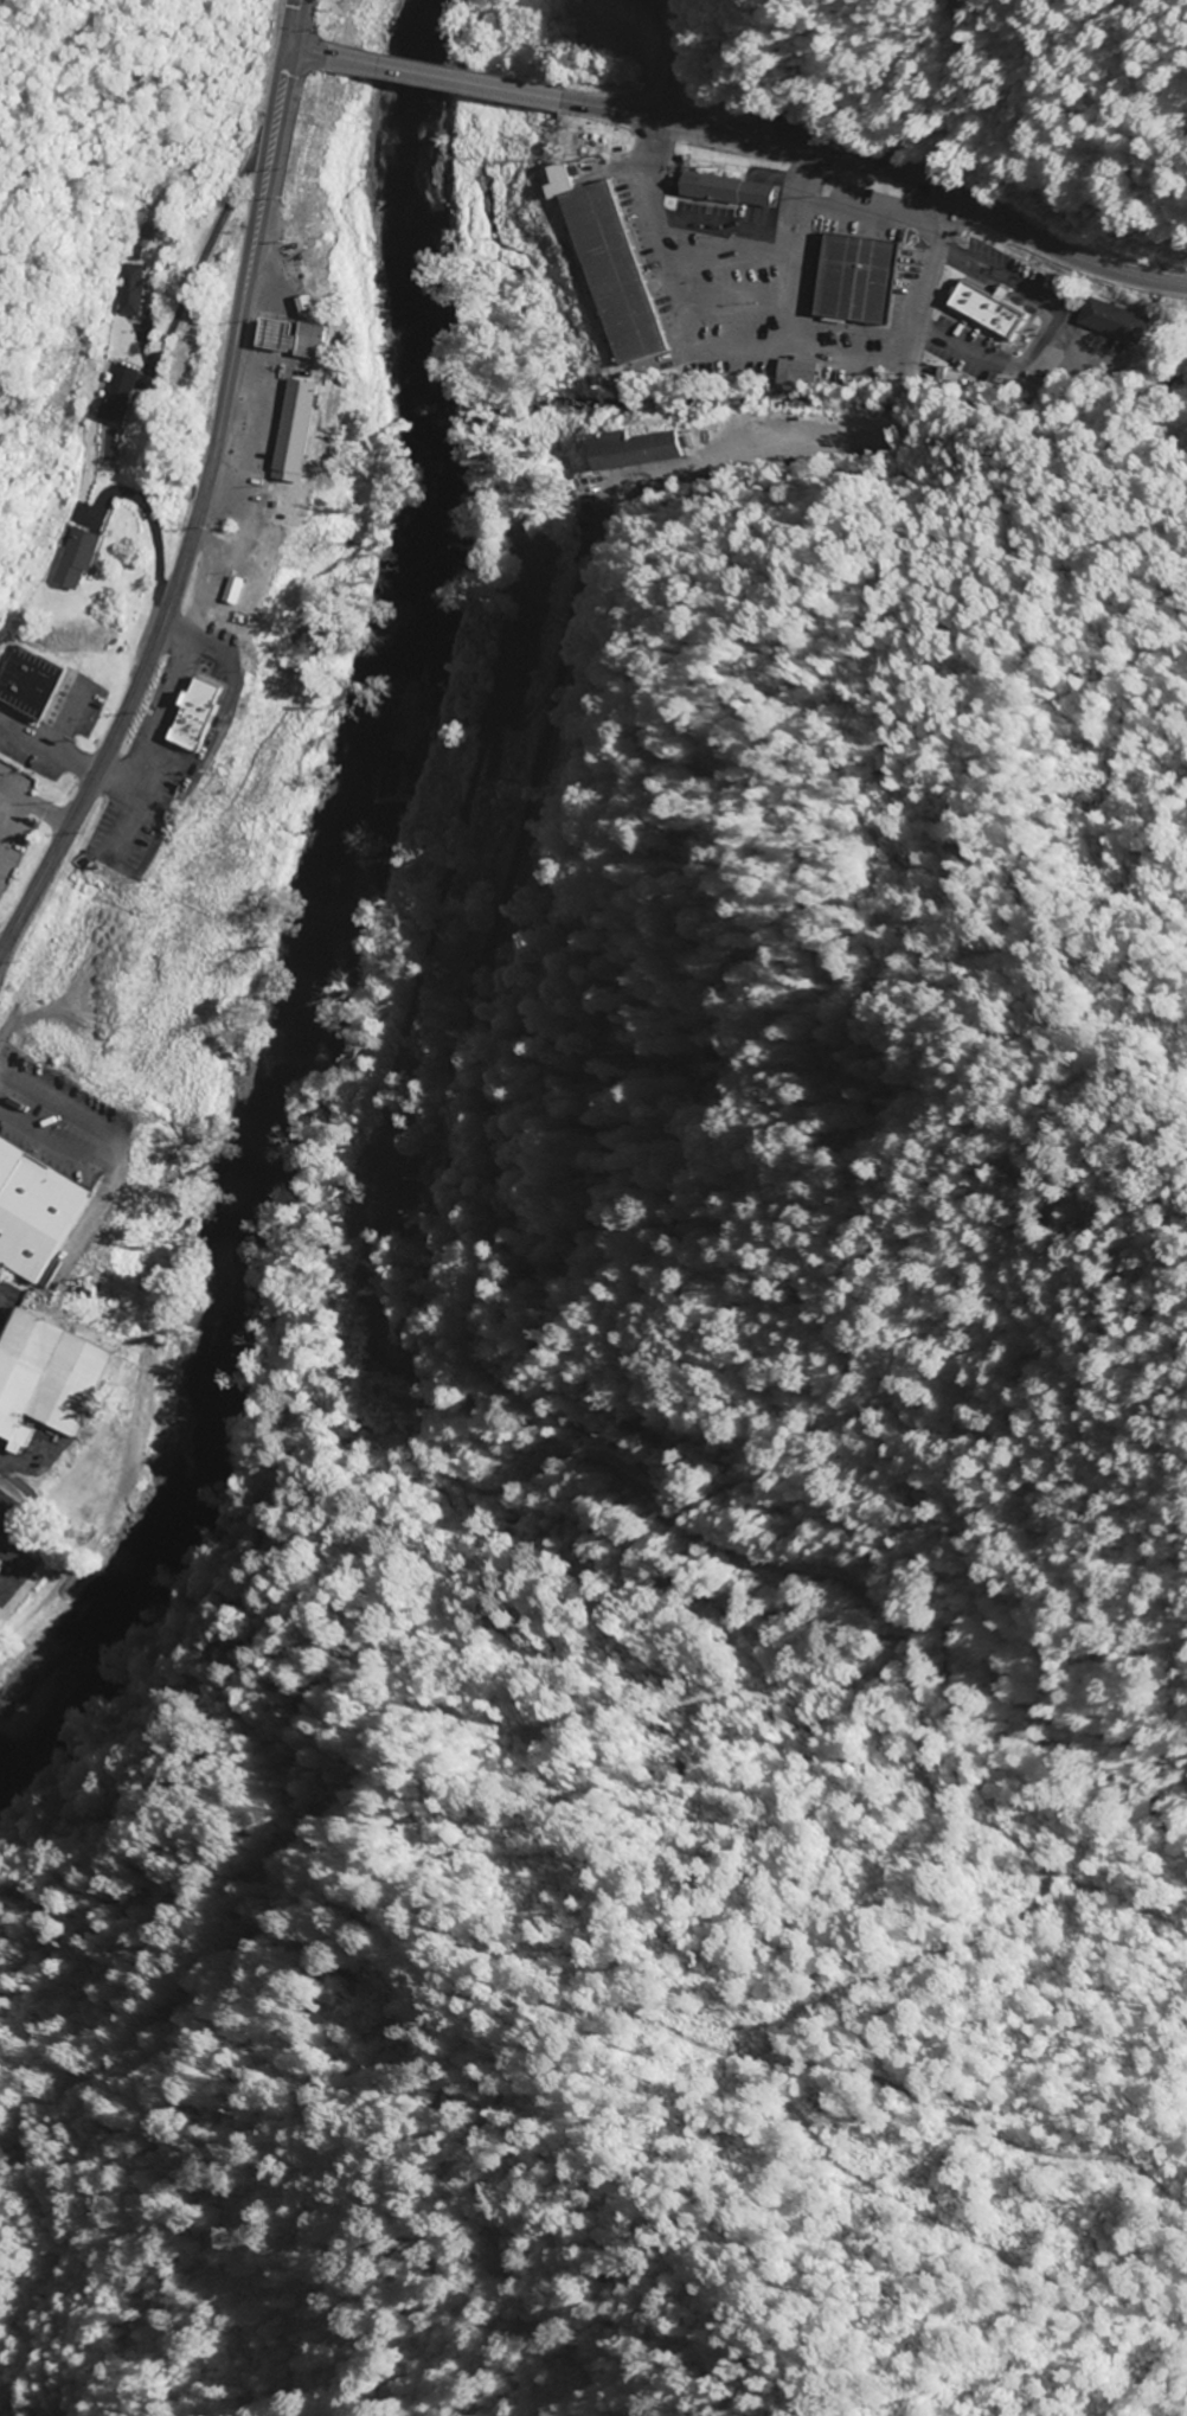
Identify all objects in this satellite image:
road: (284, 24)
road: (302, 52)
road: (668, 59)
road: (443, 78)
road: (884, 165)
building: (559, 179)
building: (711, 185)
building: (757, 193)
road: (208, 241)
parking lot: (777, 265)
building: (614, 271)
building: (856, 278)
building: (120, 290)
building: (303, 305)
building: (988, 307)
building: (1111, 319)
building: (274, 334)
building: (309, 340)
road: (225, 367)
building: (701, 369)
building: (796, 372)
building: (109, 397)
building: (294, 431)
road: (868, 438)
building: (633, 449)
building: (71, 560)
building: (230, 591)
building: (23, 684)
building: (191, 716)
road: (71, 814)
river: (306, 902)
building: (32, 1215)
building: (43, 1380)

